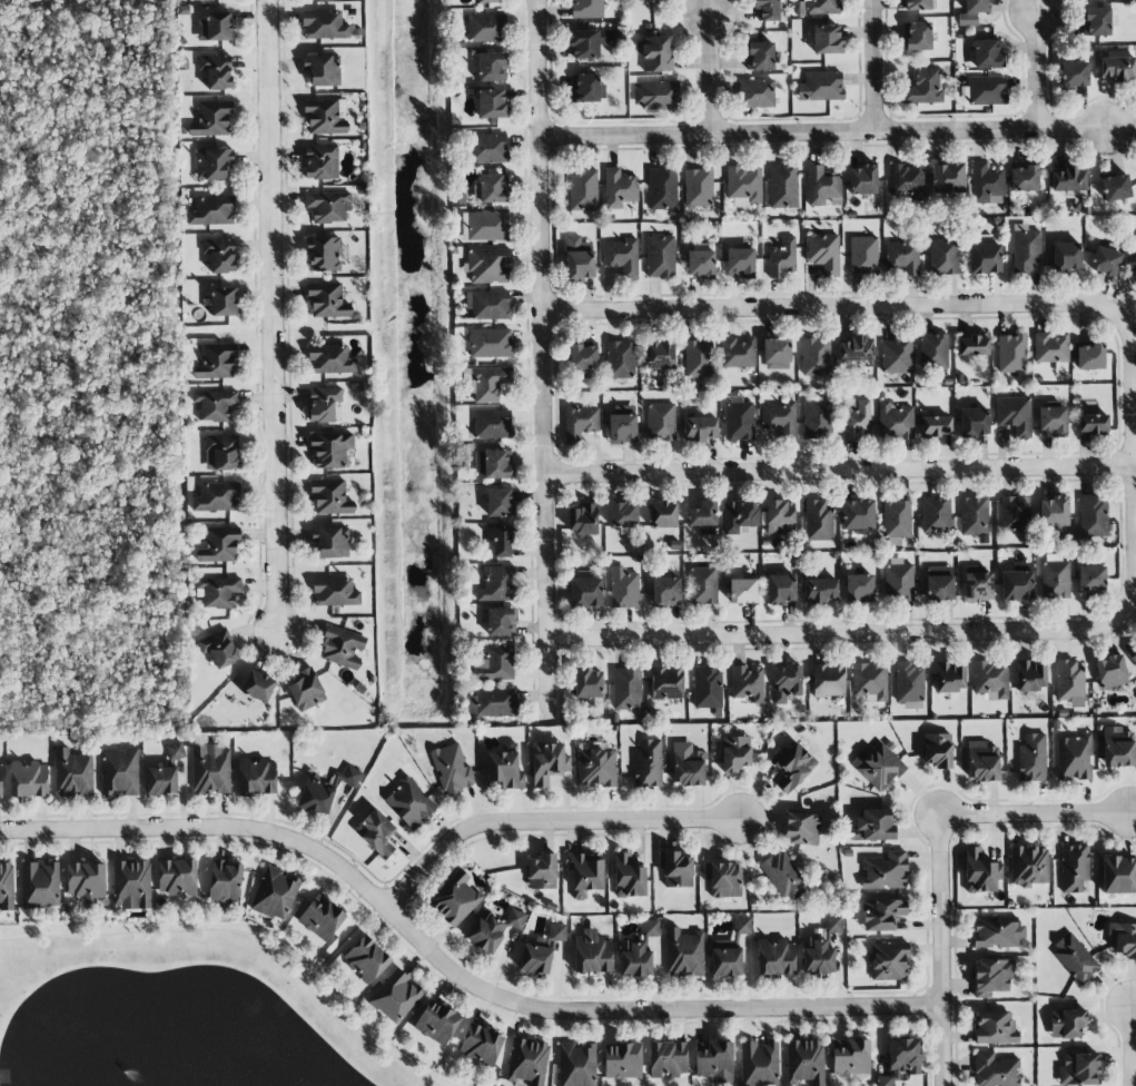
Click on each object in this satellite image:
building: (485, 1)
building: (656, 1)
building: (917, 4)
building: (822, 7)
building: (586, 9)
building: (767, 10)
building: (972, 11)
building: (1098, 21)
building: (324, 24)
building: (214, 27)
building: (485, 28)
building: (917, 36)
building: (827, 39)
building: (589, 42)
building: (654, 53)
building: (759, 56)
road: (873, 66)
building: (491, 67)
road: (1036, 69)
building: (1116, 69)
building: (323, 70)
building: (217, 71)
road: (709, 75)
building: (1074, 75)
building: (820, 87)
building: (923, 87)
building: (585, 88)
building: (986, 90)
building: (757, 93)
building: (656, 95)
building: (491, 103)
building: (324, 117)
building: (211, 119)
road: (819, 132)
building: (490, 148)
building: (320, 161)
building: (213, 164)
building: (947, 178)
building: (1024, 178)
building: (1069, 178)
building: (862, 179)
building: (987, 179)
building: (907, 181)
building: (744, 182)
building: (821, 186)
building: (698, 187)
building: (783, 187)
building: (1115, 187)
building: (490, 188)
building: (662, 188)
building: (583, 189)
building: (619, 189)
building: (328, 206)
building: (213, 210)
building: (487, 226)
building: (1026, 249)
building: (823, 253)
building: (325, 254)
building: (220, 255)
building: (863, 255)
building: (660, 256)
building: (1066, 256)
building: (621, 257)
building: (902, 257)
building: (944, 257)
building: (579, 258)
building: (781, 258)
building: (985, 258)
building: (1105, 260)
building: (739, 263)
building: (700, 264)
building: (1133, 264)
building: (488, 265)
building: (327, 300)
building: (223, 302)
road: (905, 304)
building: (487, 305)
road: (270, 314)
building: (490, 343)
building: (972, 346)
building: (1051, 347)
building: (856, 349)
building: (738, 352)
building: (932, 352)
building: (1011, 353)
building: (777, 354)
building: (659, 355)
building: (896, 355)
building: (816, 356)
building: (1089, 356)
road: (541, 358)
building: (698, 358)
building: (329, 359)
building: (620, 359)
building: (583, 361)
building: (216, 362)
building: (490, 383)
building: (323, 404)
building: (214, 406)
building: (1014, 415)
building: (739, 417)
building: (779, 418)
building: (817, 419)
building: (856, 419)
building: (1051, 421)
building: (660, 422)
building: (895, 422)
building: (974, 422)
building: (580, 423)
building: (492, 424)
building: (1093, 424)
building: (622, 425)
building: (936, 426)
building: (699, 428)
building: (329, 448)
building: (221, 453)
building: (493, 464)
road: (840, 467)
building: (217, 497)
building: (330, 497)
building: (498, 503)
building: (1053, 512)
building: (662, 514)
building: (858, 514)
building: (1015, 514)
building: (623, 515)
building: (936, 515)
building: (1093, 515)
building: (739, 516)
building: (780, 516)
building: (974, 516)
building: (703, 517)
building: (896, 519)
building: (583, 520)
building: (818, 521)
building: (330, 541)
building: (500, 541)
building: (219, 546)
building: (1055, 576)
building: (1091, 579)
building: (898, 580)
building: (939, 583)
building: (1017, 583)
building: (496, 584)
building: (702, 585)
building: (978, 586)
building: (623, 588)
building: (859, 588)
building: (780, 589)
building: (819, 589)
building: (665, 591)
building: (742, 591)
building: (217, 592)
building: (335, 592)
building: (501, 622)
road: (910, 632)
building: (343, 648)
building: (218, 649)
building: (1134, 660)
building: (496, 663)
building: (1110, 671)
building: (1030, 675)
building: (949, 678)
building: (828, 680)
building: (869, 681)
building: (747, 682)
building: (1069, 682)
building: (587, 683)
building: (666, 683)
building: (786, 683)
building: (909, 685)
building: (258, 687)
building: (626, 688)
building: (707, 688)
building: (306, 690)
building: (493, 702)
building: (1117, 747)
building: (937, 750)
building: (175, 751)
building: (735, 753)
building: (1031, 758)
building: (1074, 758)
building: (982, 761)
building: (547, 762)
building: (648, 764)
building: (686, 764)
building: (877, 766)
building: (596, 768)
building: (792, 768)
building: (210, 769)
building: (452, 769)
building: (504, 770)
building: (119, 772)
building: (72, 773)
building: (256, 777)
building: (28, 779)
building: (161, 780)
building: (0, 781)
building: (324, 790)
road: (915, 794)
building: (411, 803)
road: (1033, 813)
road: (549, 819)
building: (873, 825)
building: (803, 828)
building: (375, 832)
road: (952, 866)
building: (1028, 866)
building: (1074, 868)
building: (675, 869)
building: (883, 871)
building: (980, 871)
building: (542, 872)
building: (584, 875)
building: (1118, 875)
building: (783, 876)
building: (177, 877)
building: (628, 877)
building: (723, 880)
building: (86, 881)
building: (224, 881)
building: (39, 885)
building: (130, 885)
building: (6, 887)
building: (275, 894)
building: (455, 898)
building: (882, 914)
building: (320, 919)
building: (742, 926)
building: (651, 928)
building: (492, 930)
road: (249, 931)
building: (557, 932)
building: (997, 932)
building: (1125, 940)
road: (339, 945)
building: (820, 948)
road: (940, 950)
building: (592, 952)
building: (682, 952)
building: (774, 957)
building: (725, 958)
building: (1075, 958)
building: (365, 959)
building: (535, 959)
building: (634, 959)
building: (889, 960)
road: (451, 966)
building: (992, 976)
building: (395, 996)
road: (473, 999)
road: (1103, 1020)
building: (437, 1023)
building: (1067, 1023)
building: (995, 1028)
building: (481, 1045)
road: (1130, 1045)
building: (850, 1056)
building: (668, 1059)
building: (622, 1060)
building: (901, 1060)
building: (527, 1062)
building: (714, 1062)
building: (804, 1062)
building: (576, 1064)
building: (758, 1064)
building: (1079, 1069)
building: (996, 1070)
fountain: (110, 1078)

